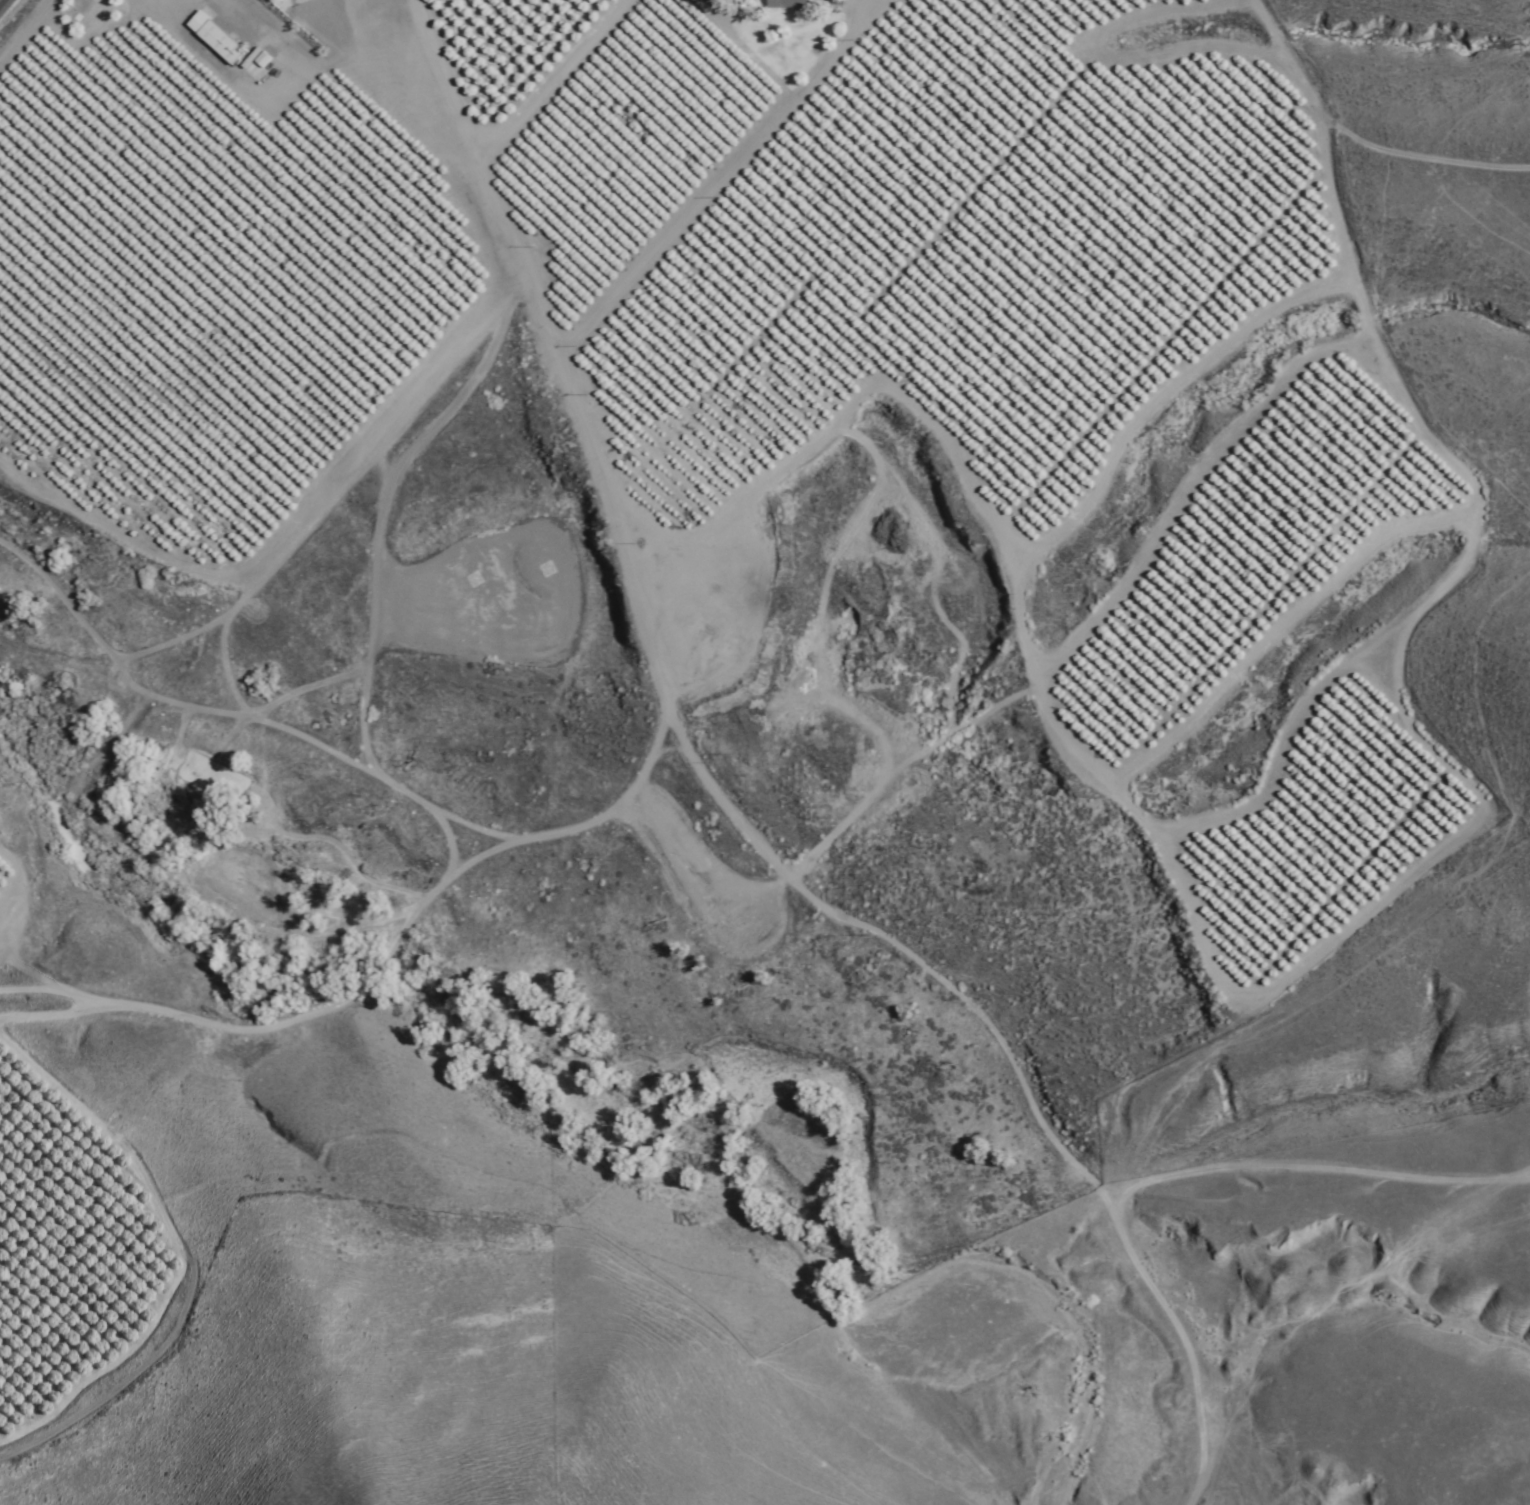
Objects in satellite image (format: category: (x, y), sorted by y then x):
road: (3, 4)
building: (788, 4)
building: (200, 20)
building: (221, 41)
building: (258, 63)
road: (553, 84)
road: (727, 816)
road: (379, 969)
road: (1309, 1170)

